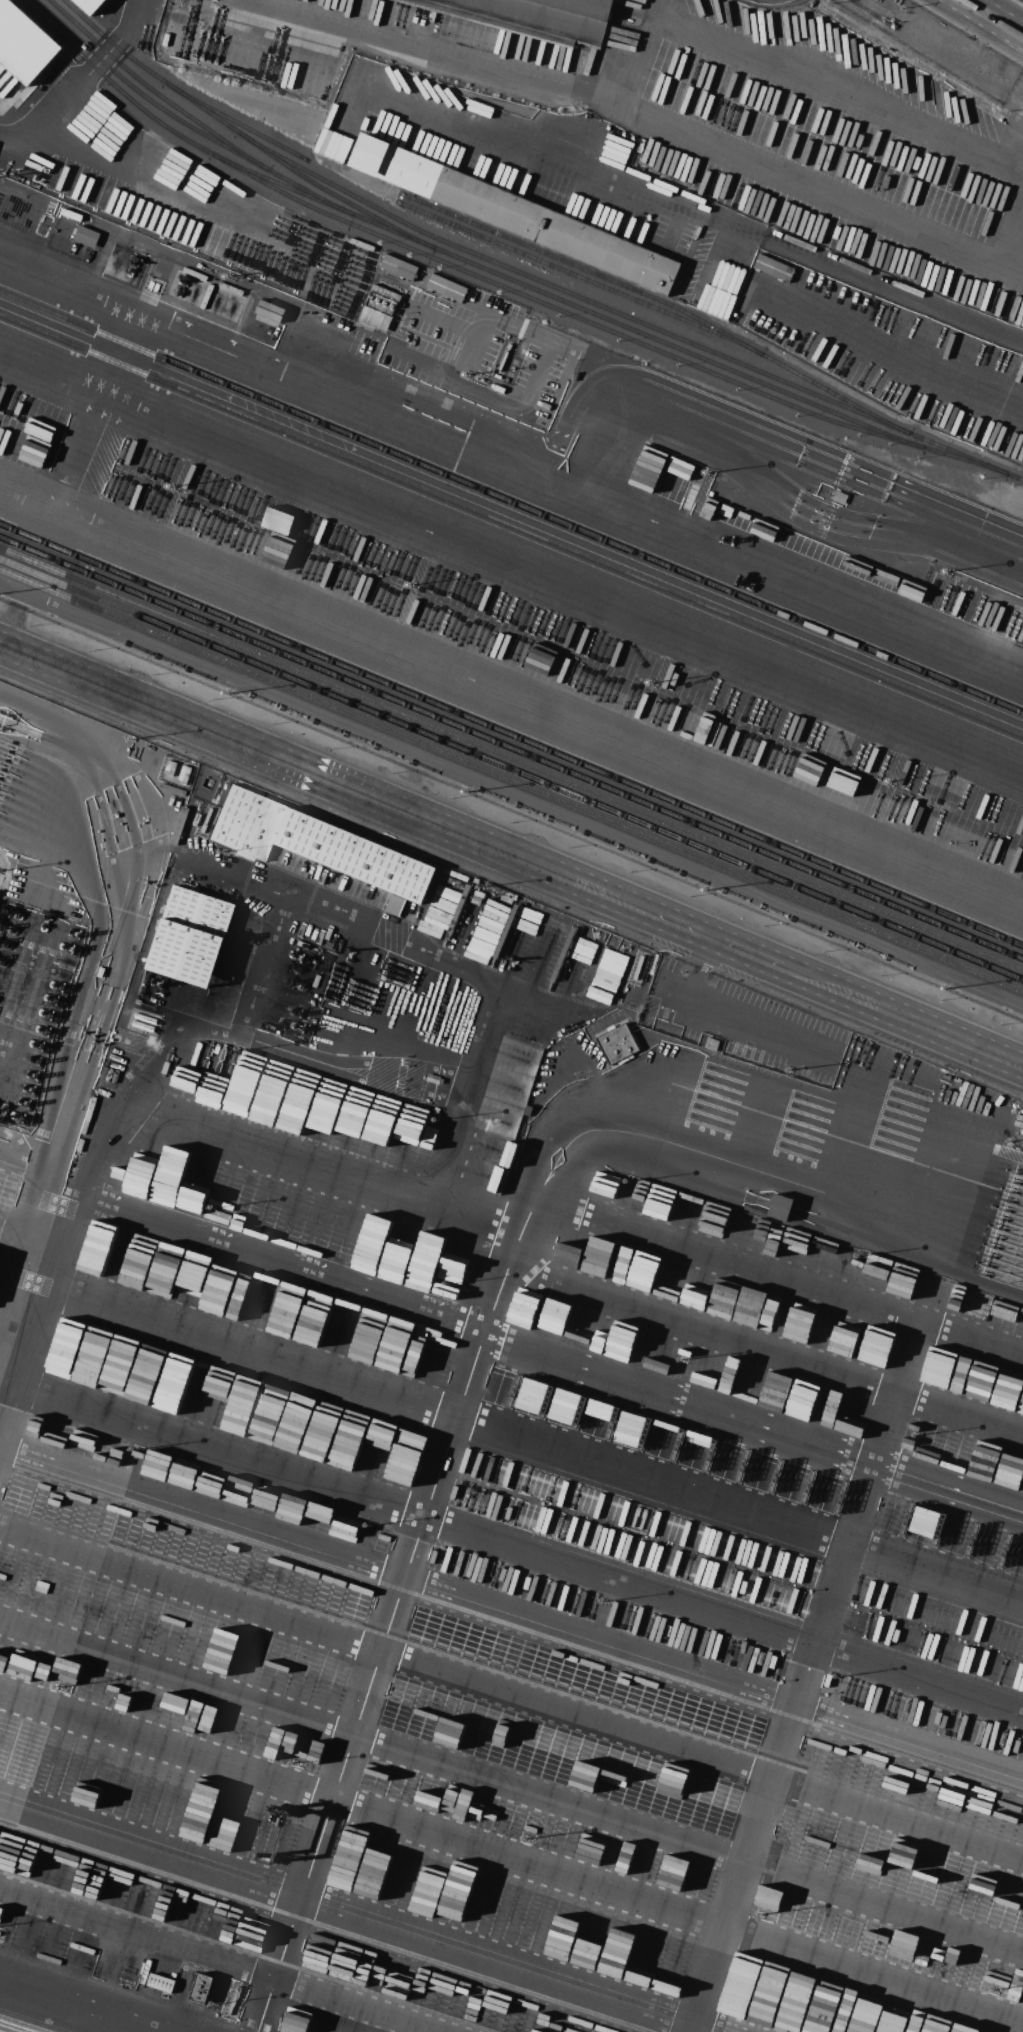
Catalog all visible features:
building: (90, 5)
road: (651, 8)
building: (535, 16)
road: (993, 17)
building: (24, 42)
road: (796, 75)
road: (80, 80)
railway: (140, 93)
road: (675, 123)
railway: (240, 124)
railway: (281, 184)
railway: (335, 195)
building: (515, 214)
road: (699, 214)
building: (86, 236)
railway: (446, 263)
building: (399, 267)
building: (773, 268)
road: (1006, 268)
railway: (524, 273)
railway: (498, 274)
railway: (574, 275)
building: (447, 287)
railway: (665, 301)
building: (380, 308)
building: (270, 311)
road: (897, 353)
road: (627, 412)
road: (98, 416)
road: (512, 466)
road: (871, 486)
building: (840, 497)
railway: (511, 503)
railway: (510, 526)
road: (857, 526)
road: (511, 565)
street lamp: (32, 625)
street lamp: (92, 649)
street lamp: (152, 674)
street lamp: (212, 699)
road: (509, 705)
street lamp: (271, 723)
railway: (511, 735)
street lamp: (331, 748)
railway: (511, 748)
railway: (511, 758)
building: (170, 768)
railway: (511, 769)
street lamp: (391, 773)
building: (184, 774)
railway: (511, 779)
street lamp: (450, 797)
street lamp: (510, 822)
building: (316, 843)
street lamp: (570, 847)
road: (171, 849)
road: (511, 854)
street lamp: (629, 871)
street lamp: (689, 896)
building: (474, 899)
road: (310, 903)
street lamp: (761, 925)
road: (134, 934)
building: (191, 936)
street lamp: (823, 951)
building: (621, 960)
street lamp: (881, 975)
building: (40, 977)
street lamp: (940, 999)
road: (51, 1009)
road: (726, 1017)
street lamp: (1000, 1024)
building: (617, 1043)
building: (711, 1044)
road: (38, 1095)
road: (113, 1097)
road: (917, 1148)
road: (309, 1175)
building: (780, 1207)
road: (16, 1244)
road: (273, 1258)
road: (729, 1262)
road: (982, 1277)
road: (19, 1304)
road: (701, 1329)
road: (5, 1339)
road: (971, 1339)
road: (245, 1343)
road: (458, 1391)
road: (751, 1418)
road: (959, 1418)
road: (213, 1441)
road: (200, 1508)
road: (737, 1511)
road: (721, 1608)
road: (813, 1647)
road: (711, 1676)
road: (511, 1695)
road: (511, 1787)
road: (511, 1859)
road: (355, 1915)
road: (215, 1962)
building: (161, 1983)
building: (202, 1988)
building: (234, 1999)
road: (83, 2004)
building: (880, 2030)
building: (834, 2031)

